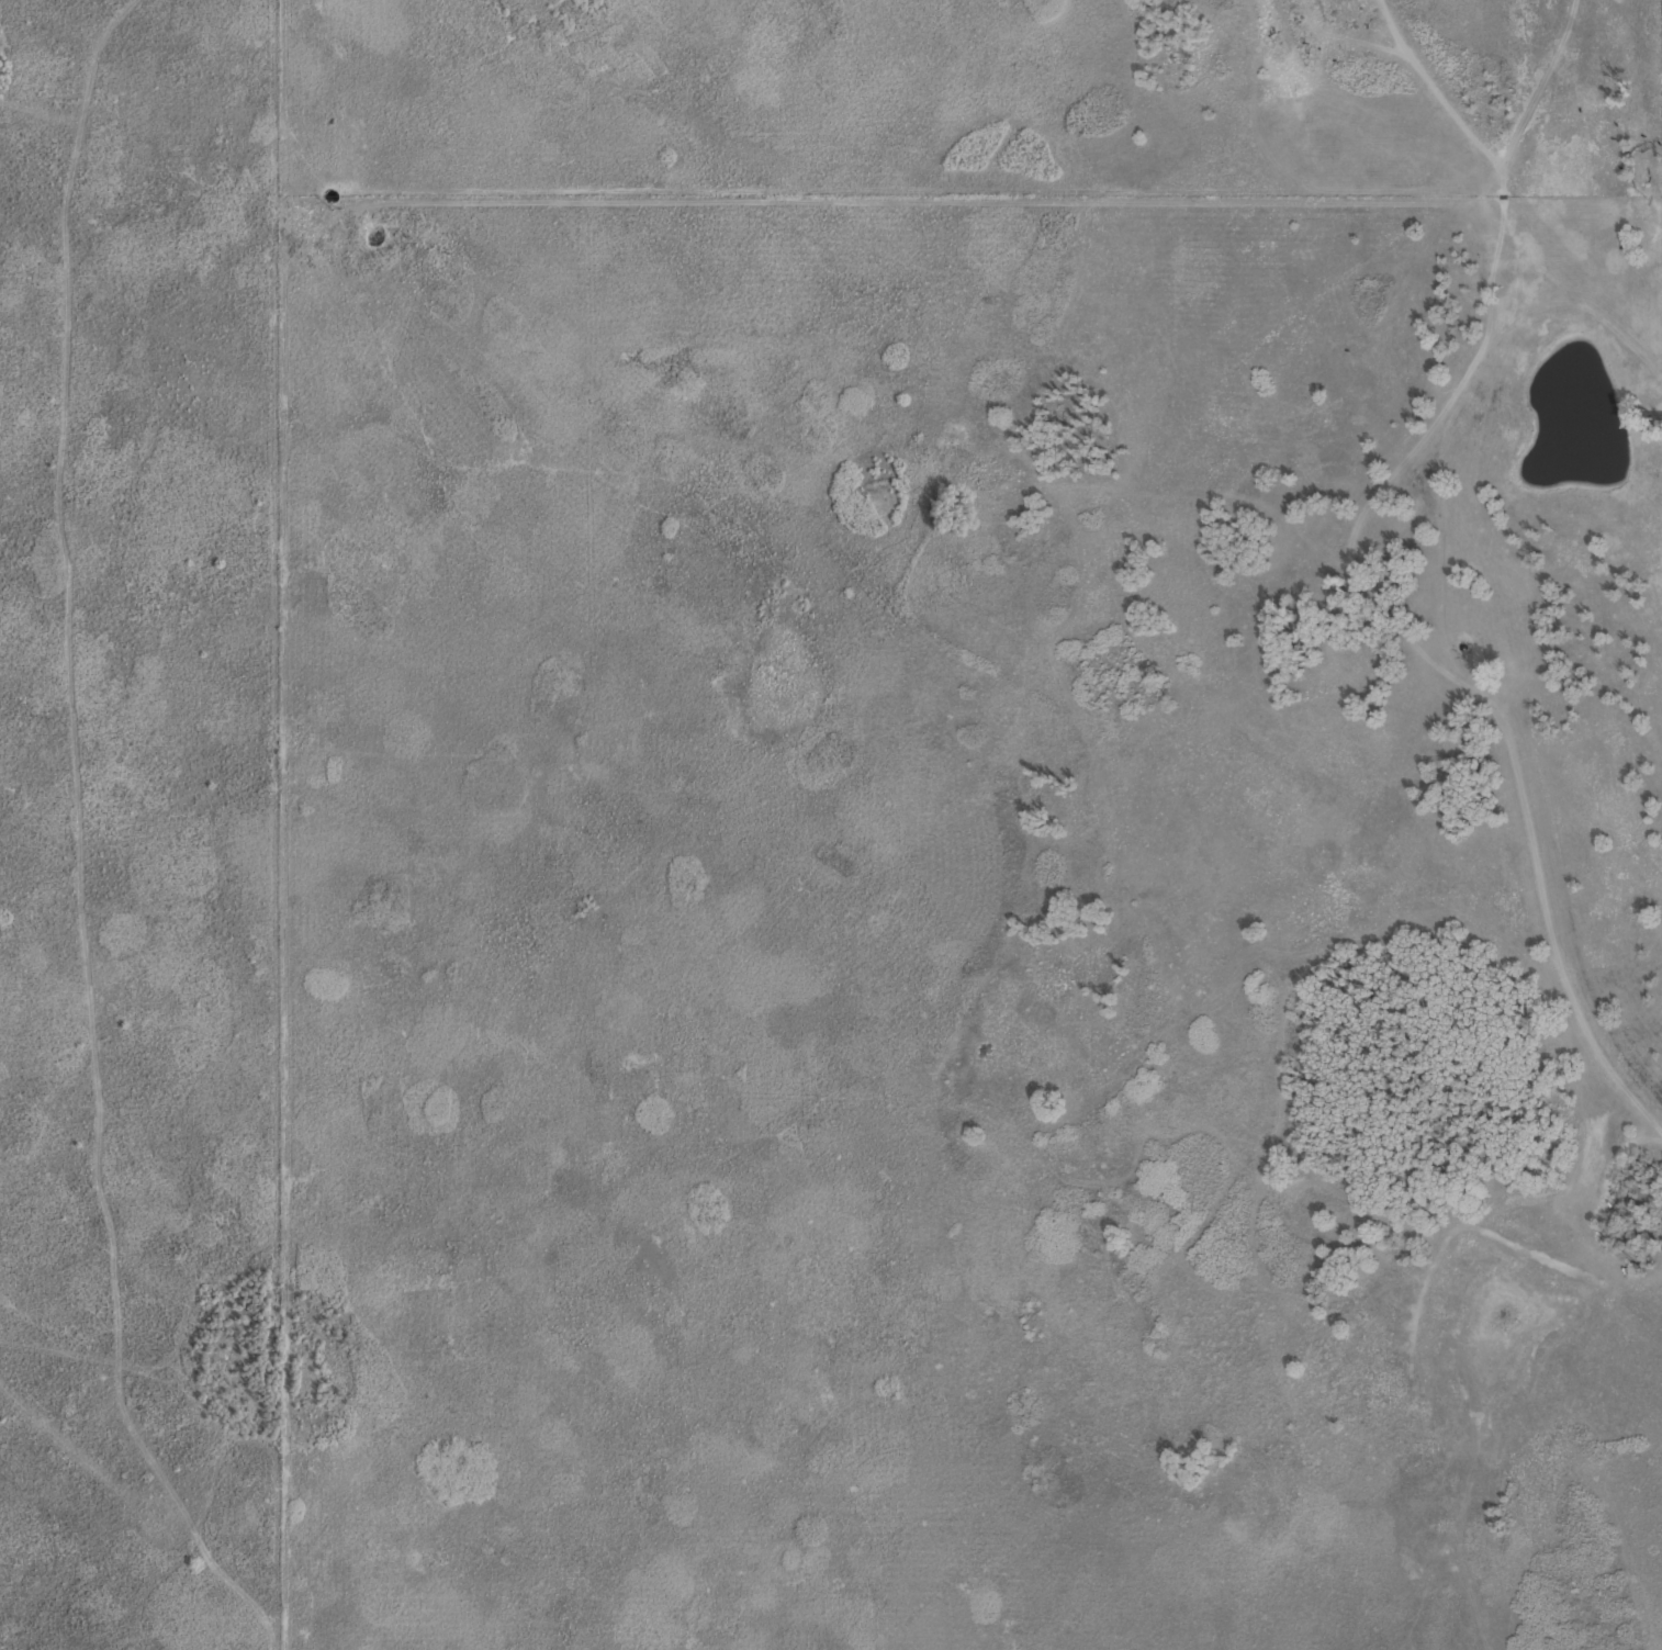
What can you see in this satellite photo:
road: (1480, 572)

